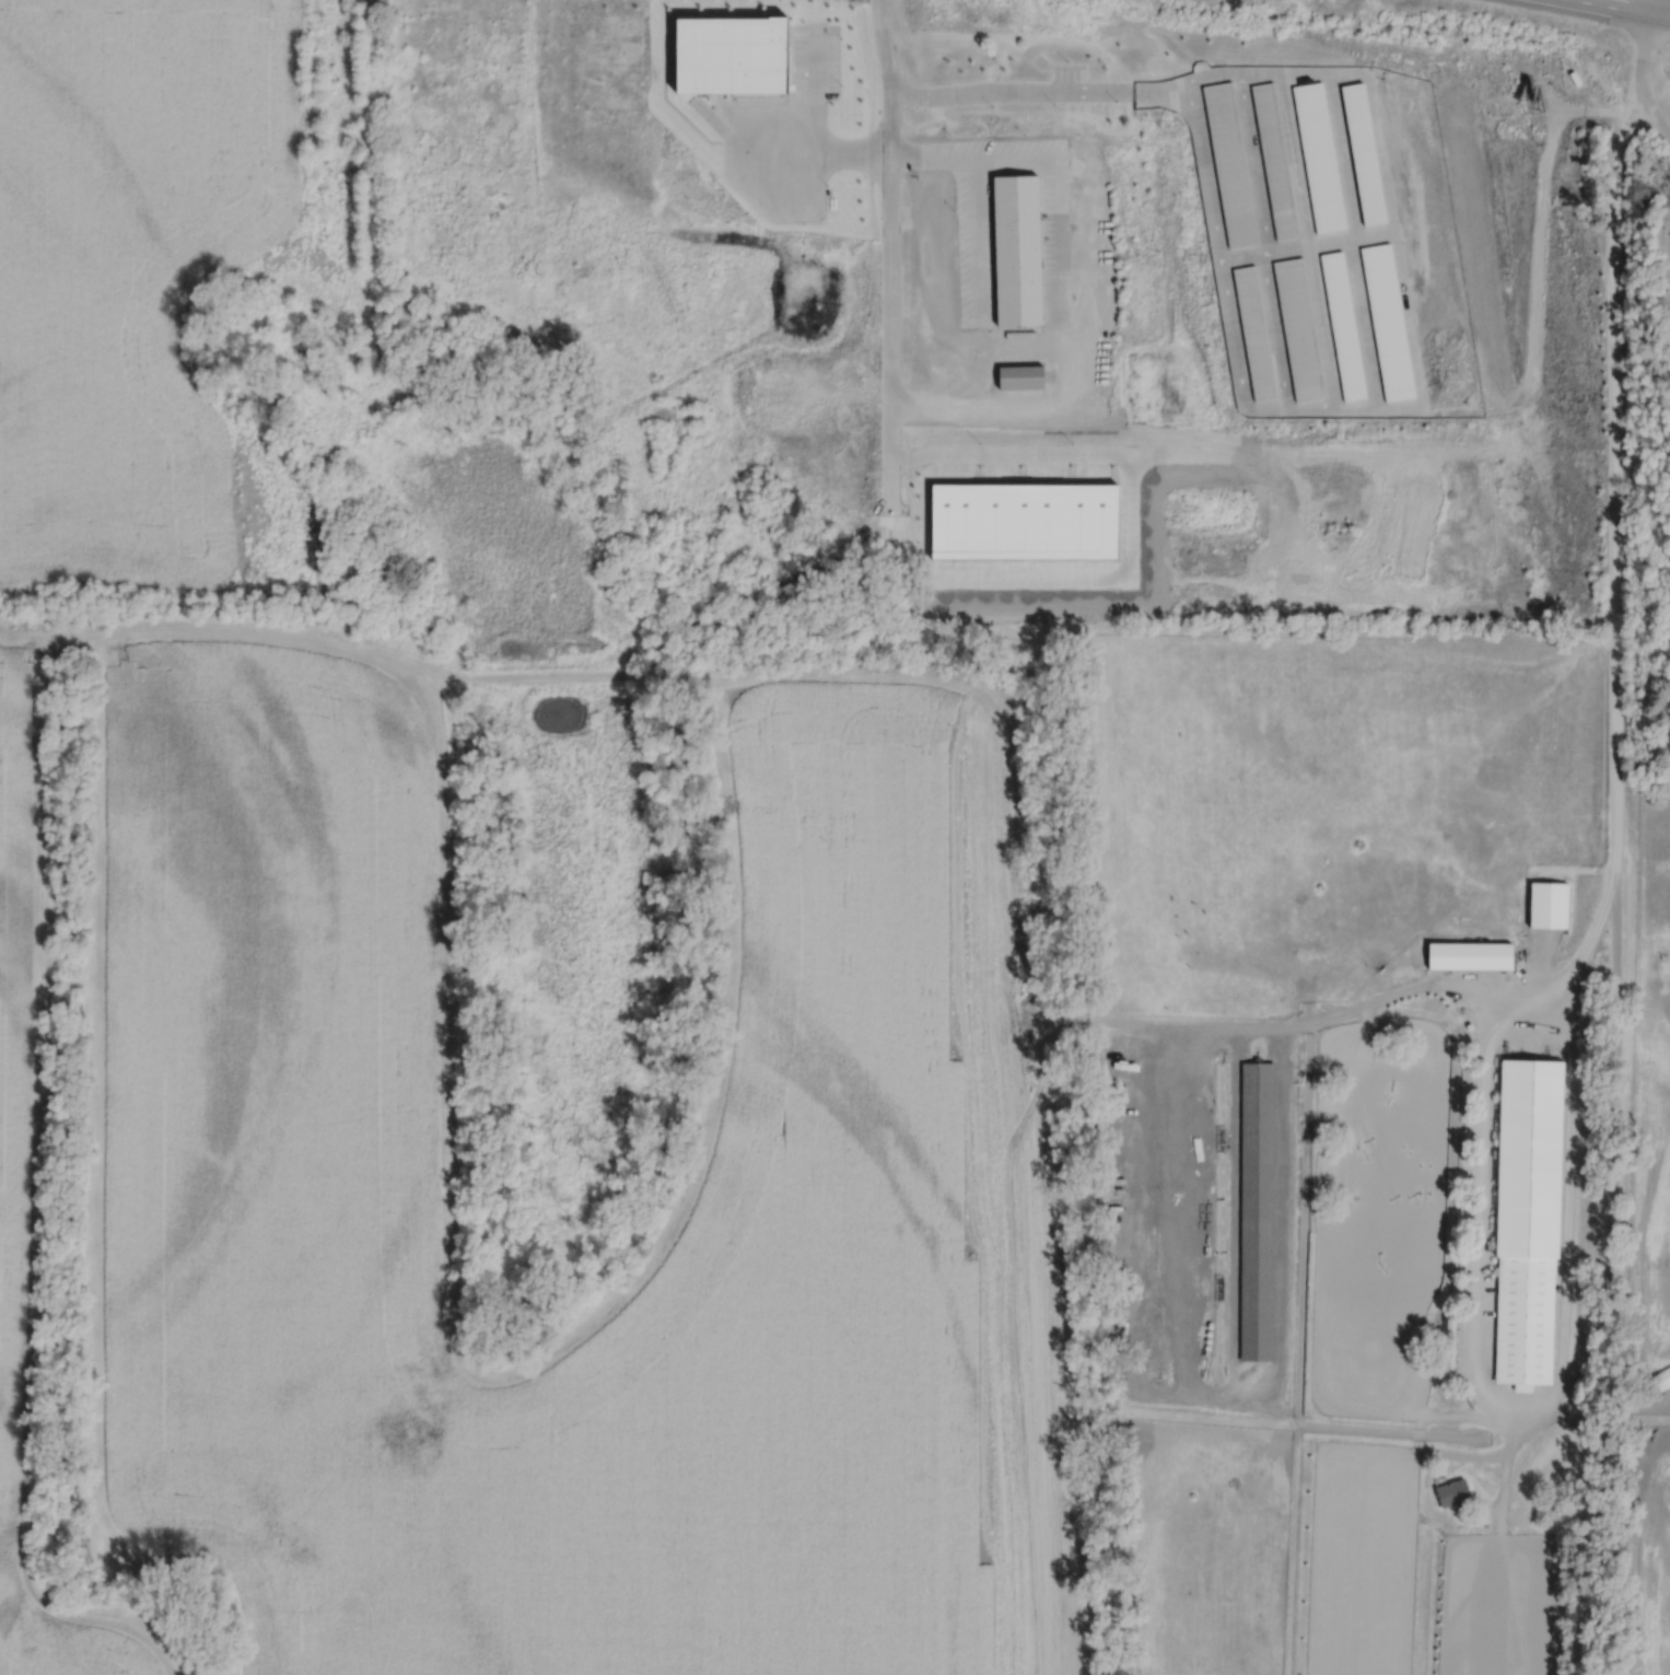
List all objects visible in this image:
road: (1622, 9)
road: (1646, 47)
road: (1142, 91)
road: (1005, 93)
road: (1654, 117)
building: (1363, 154)
building: (1319, 156)
building: (1275, 161)
building: (1230, 164)
road: (890, 248)
building: (1016, 251)
road: (1243, 255)
building: (933, 257)
park: (1662, 264)
road: (1065, 284)
building: (1387, 322)
building: (1342, 324)
building: (1297, 330)
building: (1254, 334)
building: (1019, 377)
road: (1285, 391)
building: (1025, 522)
building: (1549, 905)
building: (1469, 956)
road: (1535, 997)
road: (1613, 1145)
building: (1528, 1158)
building: (1256, 1211)
road: (1231, 1248)
building: (1525, 1318)
building: (1661, 1377)
road: (1418, 1442)
road: (1507, 1467)
building: (1451, 1491)
road: (1605, 1511)

